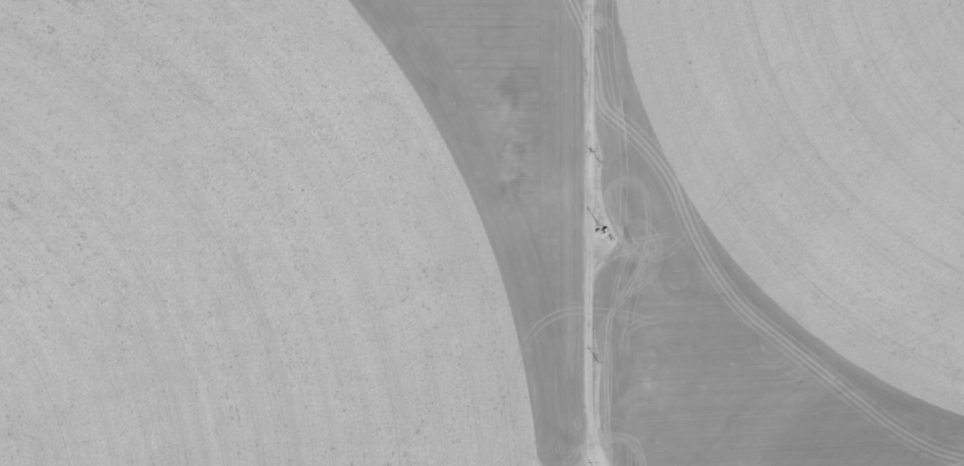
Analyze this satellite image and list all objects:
road: (594, 233)

